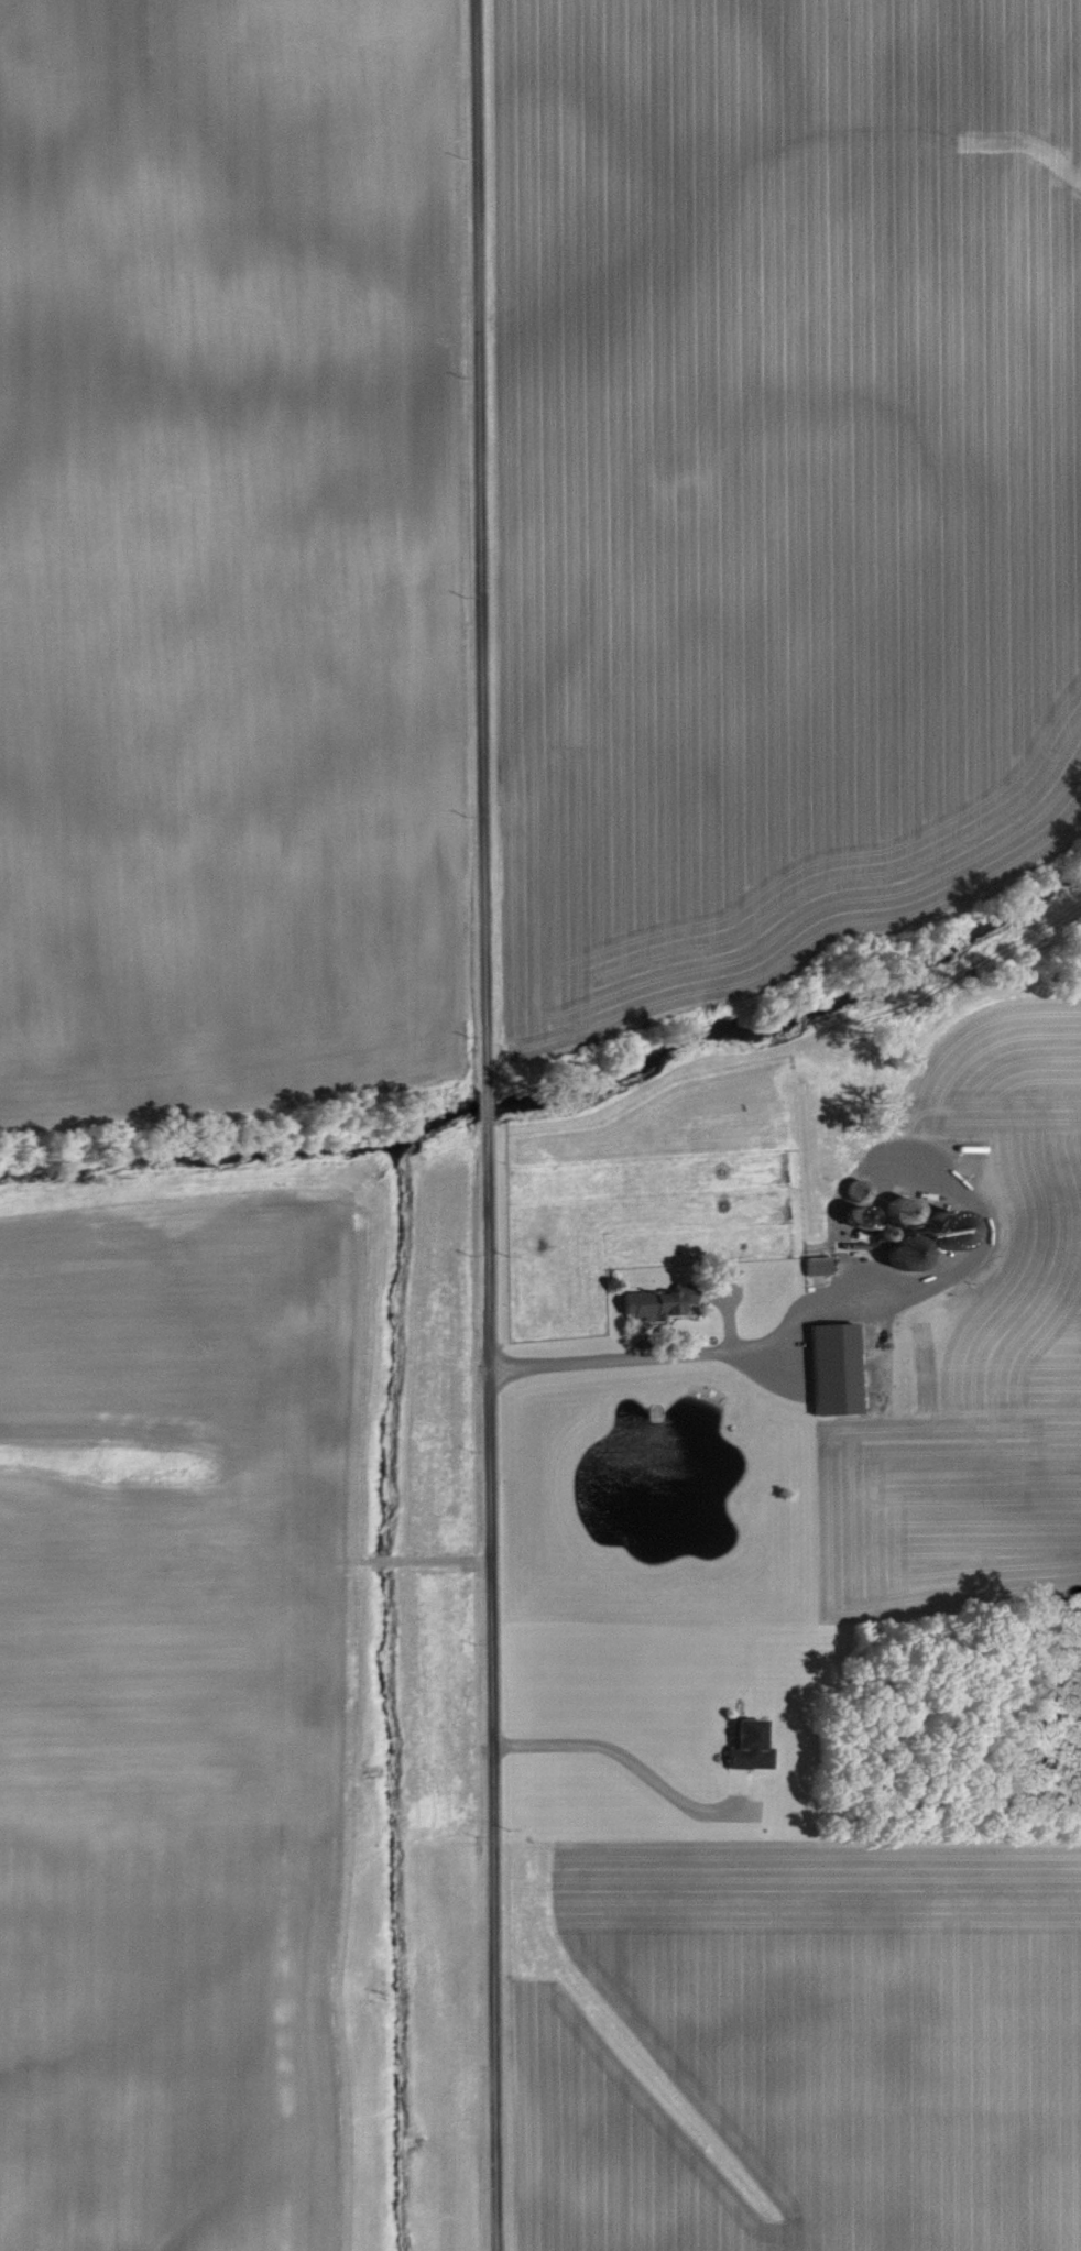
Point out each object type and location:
road: (489, 1125)
building: (899, 1211)
building: (858, 1217)
building: (664, 1301)
road: (814, 1303)
building: (833, 1367)
road: (625, 1738)

